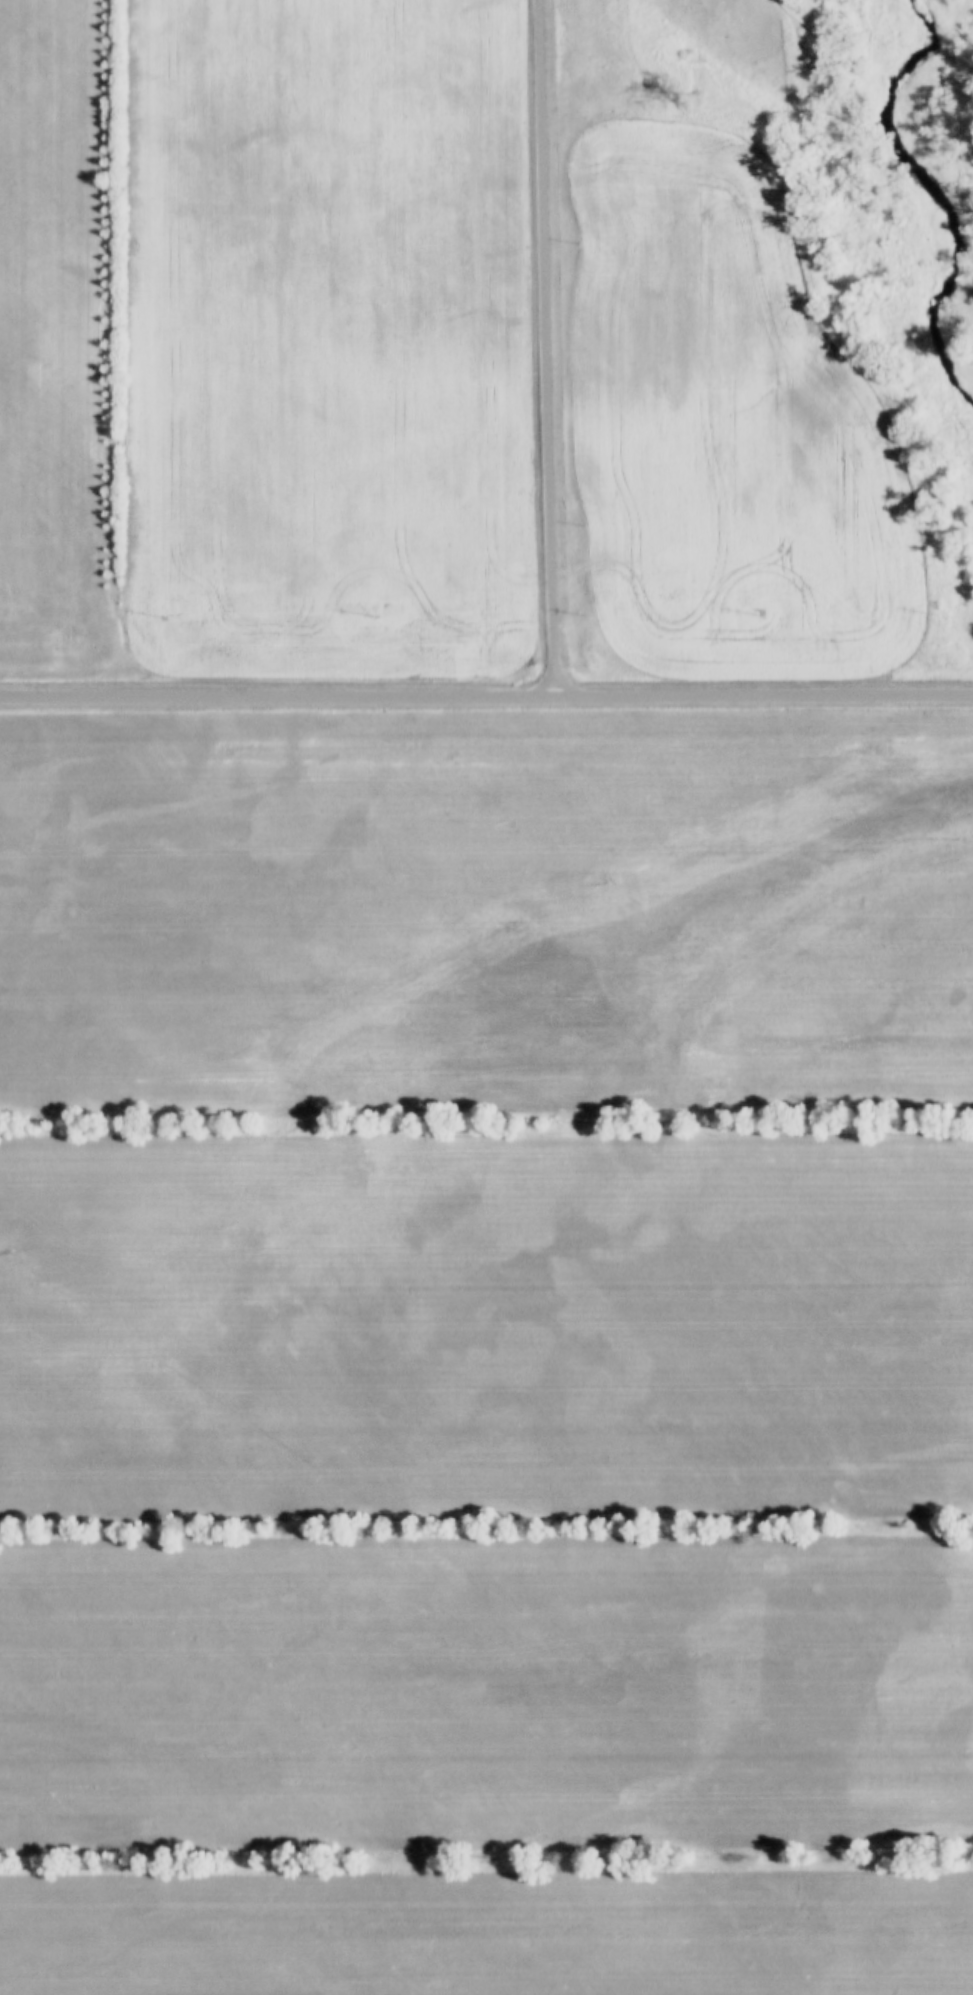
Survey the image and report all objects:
road: (548, 349)
road: (486, 699)

